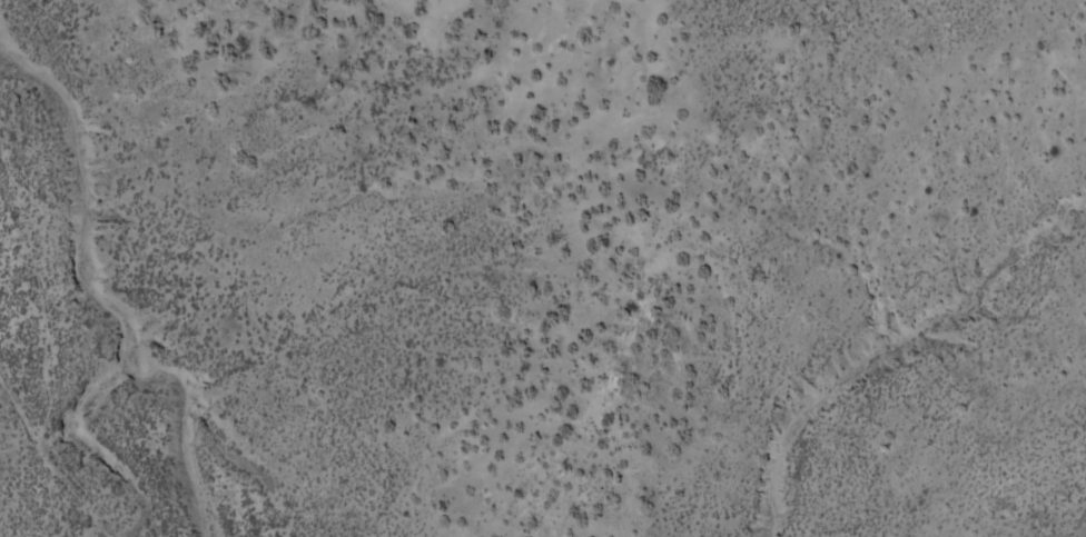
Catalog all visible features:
road: (50, 459)

